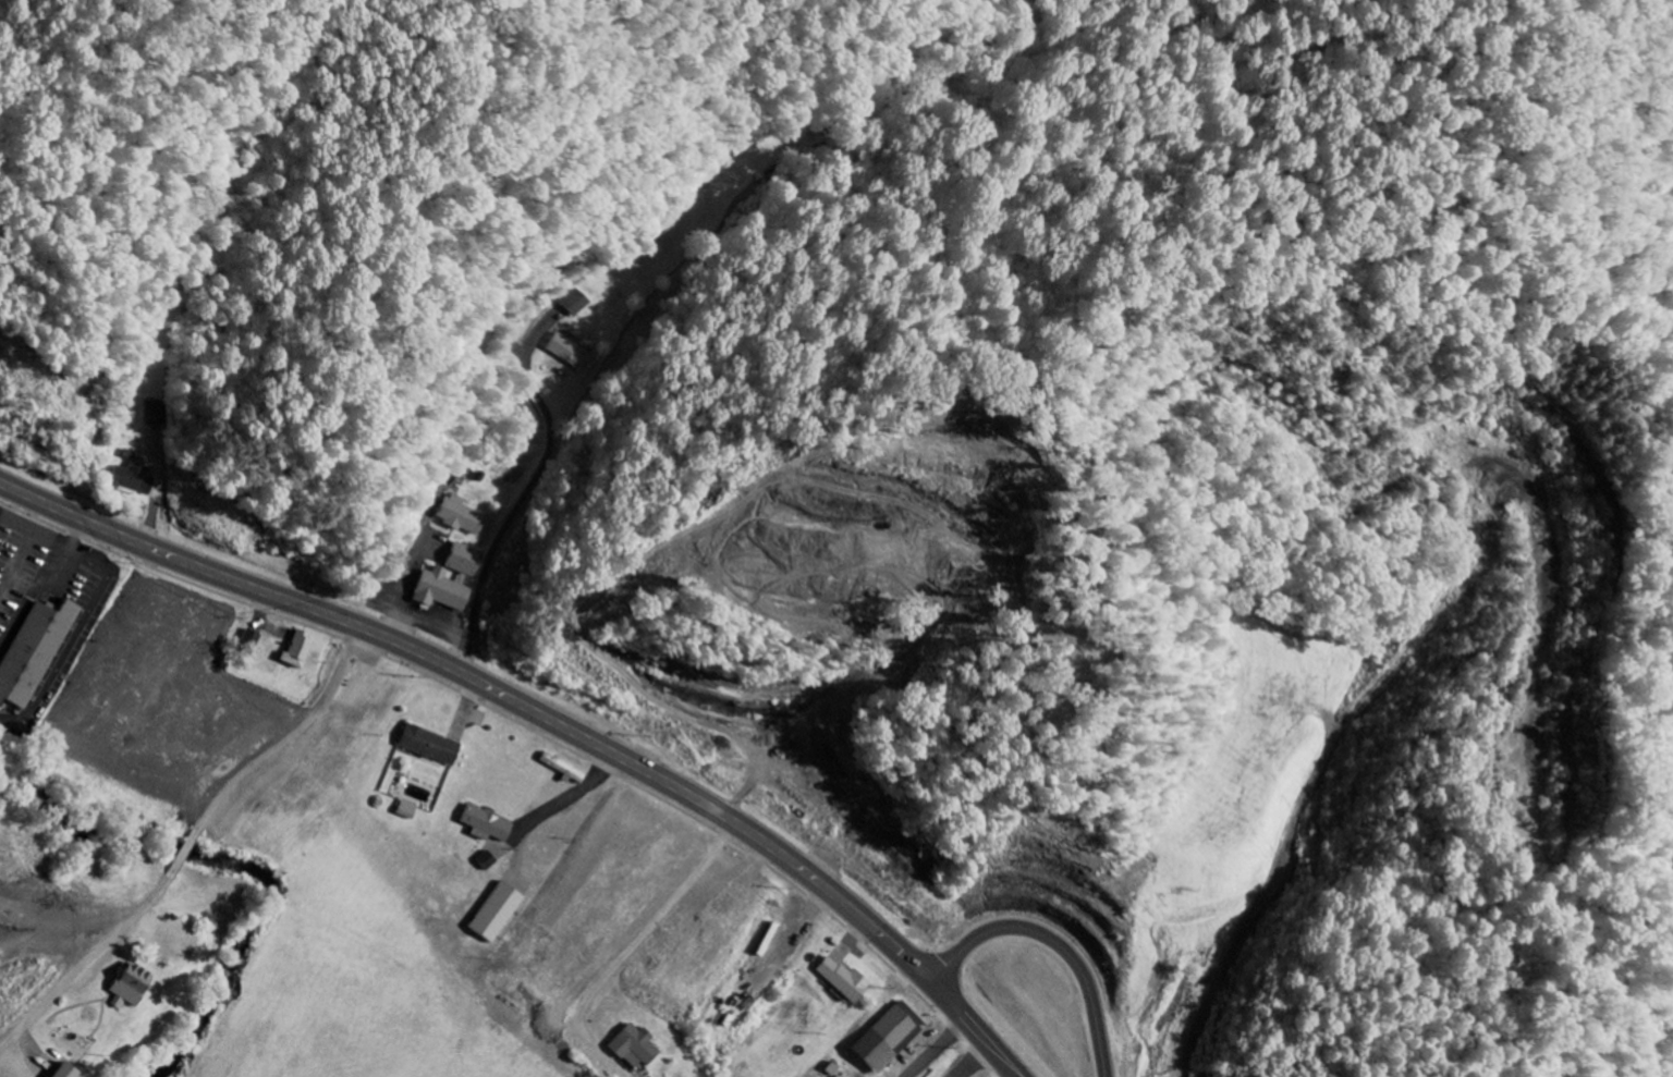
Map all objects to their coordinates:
building: (579, 303)
building: (572, 352)
building: (156, 413)
building: (132, 480)
road: (529, 493)
building: (462, 516)
building: (466, 560)
building: (442, 590)
building: (251, 641)
building: (298, 649)
building: (32, 651)
road: (547, 714)
road: (296, 736)
building: (429, 745)
road: (1317, 758)
building: (562, 769)
building: (406, 810)
building: (486, 824)
road: (185, 854)
river: (220, 867)
building: (496, 913)
road: (652, 923)
road: (1063, 938)
road: (84, 969)
building: (844, 980)
building: (127, 987)
building: (889, 1038)
building: (634, 1048)
road: (938, 1050)
building: (61, 1072)
building: (839, 1076)

